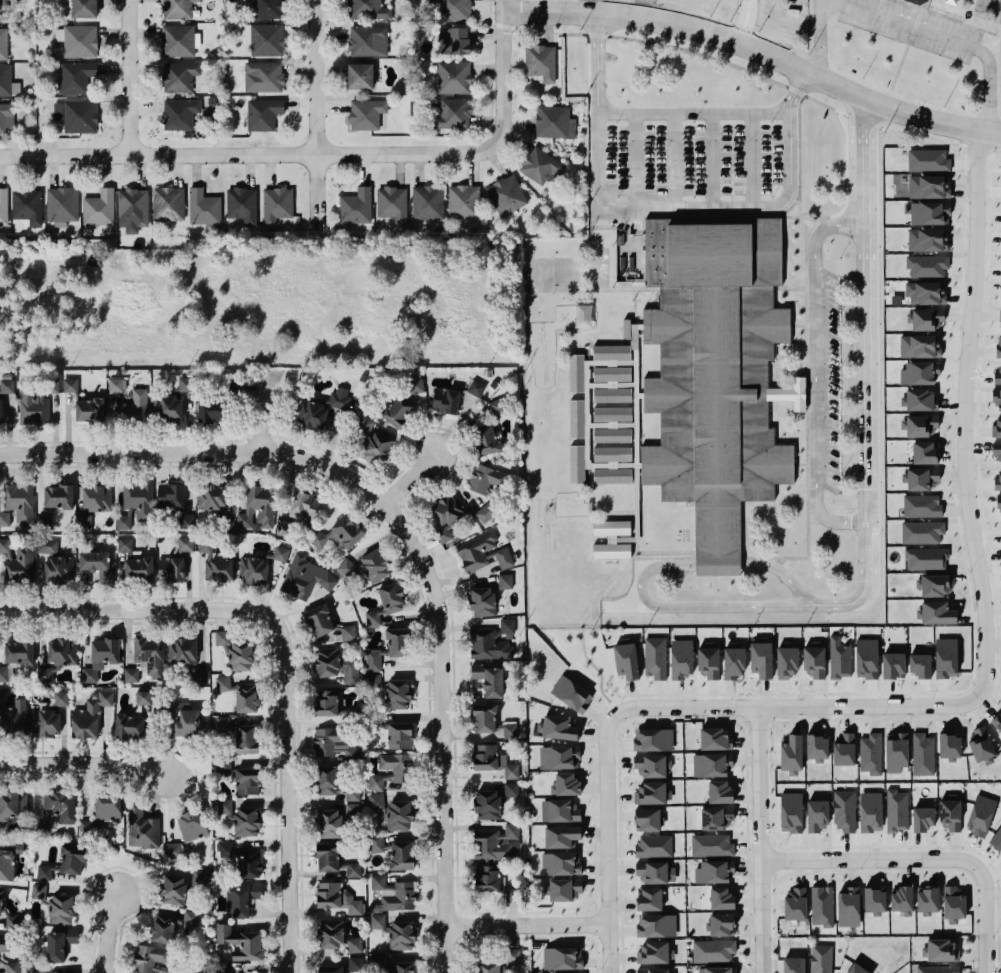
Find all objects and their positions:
building: (916, 1)
building: (949, 1)
road: (819, 4)
road: (925, 5)
park: (983, 6)
building: (84, 8)
building: (177, 9)
building: (266, 9)
building: (452, 9)
building: (367, 10)
road: (944, 17)
road: (744, 21)
road: (915, 21)
road: (491, 23)
road: (907, 24)
road: (503, 26)
parking lot: (911, 27)
road: (549, 29)
road: (596, 34)
building: (77, 40)
building: (178, 40)
building: (265, 40)
building: (367, 41)
building: (453, 41)
building: (3, 43)
road: (759, 48)
road: (699, 52)
road: (597, 59)
building: (540, 61)
road: (900, 61)
road: (490, 66)
road: (507, 74)
road: (131, 76)
building: (178, 76)
building: (263, 76)
building: (359, 76)
building: (75, 77)
building: (453, 77)
building: (7, 81)
road: (796, 85)
road: (794, 90)
road: (828, 105)
road: (693, 112)
building: (179, 114)
building: (263, 114)
building: (366, 114)
building: (452, 114)
road: (321, 115)
building: (76, 116)
building: (6, 117)
road: (862, 121)
building: (554, 122)
road: (877, 126)
road: (588, 137)
road: (939, 140)
road: (247, 151)
road: (797, 154)
parking lot: (692, 158)
road: (674, 159)
road: (711, 159)
road: (752, 159)
road: (634, 160)
building: (928, 160)
building: (540, 166)
building: (928, 186)
building: (505, 195)
building: (463, 201)
building: (427, 202)
building: (168, 203)
building: (392, 203)
building: (242, 204)
building: (276, 204)
building: (61, 205)
building: (3, 206)
building: (27, 206)
building: (356, 206)
road: (693, 207)
road: (787, 207)
building: (98, 208)
building: (132, 209)
building: (204, 209)
building: (929, 213)
road: (793, 216)
road: (642, 221)
road: (821, 228)
building: (927, 239)
building: (927, 265)
park: (551, 272)
road: (788, 286)
building: (925, 293)
building: (927, 319)
road: (796, 324)
building: (919, 346)
building: (998, 346)
building: (612, 353)
road: (861, 371)
building: (919, 372)
building: (715, 375)
road: (814, 377)
building: (997, 377)
parking lot: (829, 380)
building: (70, 385)
building: (115, 385)
building: (6, 386)
building: (475, 388)
road: (786, 393)
building: (996, 398)
building: (920, 399)
building: (35, 401)
building: (445, 401)
building: (171, 402)
building: (405, 403)
building: (134, 407)
building: (324, 408)
road: (262, 409)
building: (89, 410)
building: (1, 411)
building: (209, 411)
building: (576, 419)
building: (586, 423)
building: (611, 424)
building: (919, 426)
building: (997, 426)
road: (246, 437)
road: (258, 437)
road: (140, 439)
building: (487, 440)
building: (375, 441)
building: (924, 452)
building: (996, 452)
road: (25, 453)
building: (612, 454)
road: (799, 462)
road: (806, 471)
building: (486, 478)
building: (920, 479)
road: (411, 480)
building: (997, 482)
road: (380, 484)
road: (389, 495)
building: (170, 496)
building: (58, 497)
building: (211, 497)
building: (96, 498)
building: (16, 504)
road: (402, 504)
building: (304, 505)
building: (921, 506)
building: (999, 506)
building: (256, 507)
building: (485, 514)
building: (446, 516)
road: (827, 518)
building: (44, 520)
building: (186, 521)
building: (83, 522)
building: (286, 528)
building: (922, 532)
building: (339, 533)
building: (611, 539)
building: (185, 543)
building: (124, 544)
building: (46, 546)
road: (399, 548)
building: (483, 552)
building: (280, 553)
road: (423, 559)
building: (926, 559)
building: (18, 560)
building: (216, 562)
building: (96, 564)
building: (375, 565)
building: (346, 567)
road: (438, 568)
building: (57, 569)
building: (138, 569)
building: (170, 569)
building: (253, 569)
road: (641, 576)
building: (305, 577)
building: (506, 581)
building: (933, 585)
building: (482, 601)
building: (386, 603)
road: (172, 606)
building: (936, 613)
building: (322, 623)
building: (348, 632)
building: (221, 638)
building: (491, 641)
building: (398, 642)
road: (295, 648)
building: (18, 652)
building: (149, 654)
building: (240, 656)
building: (100, 657)
building: (655, 657)
building: (839, 657)
building: (58, 658)
building: (187, 658)
building: (681, 658)
building: (761, 658)
building: (866, 658)
building: (946, 658)
building: (626, 659)
building: (786, 660)
building: (814, 660)
building: (373, 661)
building: (708, 662)
building: (734, 662)
building: (893, 665)
building: (920, 665)
building: (335, 666)
road: (271, 668)
building: (6, 672)
building: (131, 675)
building: (487, 679)
building: (391, 691)
building: (239, 693)
building: (571, 694)
building: (59, 698)
building: (142, 698)
building: (326, 703)
road: (951, 705)
building: (349, 714)
building: (89, 715)
building: (13, 717)
building: (485, 718)
building: (183, 719)
building: (997, 722)
building: (128, 726)
building: (223, 726)
building: (559, 728)
building: (509, 730)
building: (399, 735)
building: (715, 738)
building: (247, 739)
building: (653, 739)
building: (334, 744)
building: (980, 744)
building: (950, 746)
building: (817, 747)
building: (844, 749)
building: (896, 752)
building: (791, 753)
building: (871, 754)
building: (923, 754)
building: (559, 757)
building: (493, 760)
road: (84, 763)
building: (711, 764)
building: (223, 765)
building: (650, 766)
building: (402, 770)
road: (194, 776)
building: (247, 781)
building: (333, 783)
building: (565, 784)
building: (511, 789)
building: (719, 792)
building: (650, 793)
building: (487, 804)
building: (13, 805)
building: (60, 805)
building: (107, 807)
building: (378, 807)
building: (560, 810)
building: (844, 810)
building: (897, 810)
building: (870, 811)
building: (351, 812)
building: (791, 812)
building: (950, 814)
building: (399, 815)
building: (817, 815)
building: (980, 815)
building: (240, 817)
building: (717, 818)
building: (923, 818)
building: (647, 819)
building: (329, 823)
building: (192, 825)
building: (89, 828)
building: (142, 829)
road: (288, 829)
building: (561, 836)
road: (760, 839)
building: (996, 839)
building: (497, 843)
building: (377, 845)
building: (712, 845)
building: (653, 846)
building: (173, 850)
building: (401, 855)
building: (327, 857)
building: (242, 859)
road: (869, 859)
building: (71, 862)
building: (561, 863)
building: (6, 864)
road: (122, 865)
building: (351, 869)
building: (714, 871)
building: (44, 872)
building: (652, 872)
building: (199, 877)
building: (488, 878)
building: (173, 889)
building: (564, 889)
building: (38, 891)
building: (394, 893)
building: (337, 898)
building: (721, 898)
building: (927, 898)
building: (244, 899)
building: (650, 899)
building: (901, 900)
building: (874, 901)
building: (0, 902)
building: (953, 903)
building: (795, 904)
building: (822, 905)
road: (594, 907)
building: (848, 907)
building: (59, 909)
road: (460, 912)
road: (984, 918)
building: (377, 921)
road: (594, 923)
road: (527, 924)
building: (722, 924)
building: (656, 925)
building: (169, 926)
road: (458, 926)
street lamp: (993, 933)
building: (331, 934)
building: (401, 935)
road: (114, 936)
road: (476, 938)
road: (595, 939)
road: (460, 941)
building: (240, 942)
road: (622, 943)
building: (60, 944)
building: (354, 945)
building: (942, 950)
building: (713, 951)
building: (653, 952)
road: (749, 954)
road: (774, 954)
road: (972, 954)
road: (997, 954)
building: (0, 956)
building: (512, 956)
building: (562, 958)
building: (821, 958)
building: (153, 959)
building: (355, 964)
building: (402, 965)
building: (794, 965)
building: (487, 967)
building: (38, 969)
building: (330, 969)
building: (716, 969)
building: (856, 969)
building: (937, 969)
building: (653, 970)
road: (596, 972)

